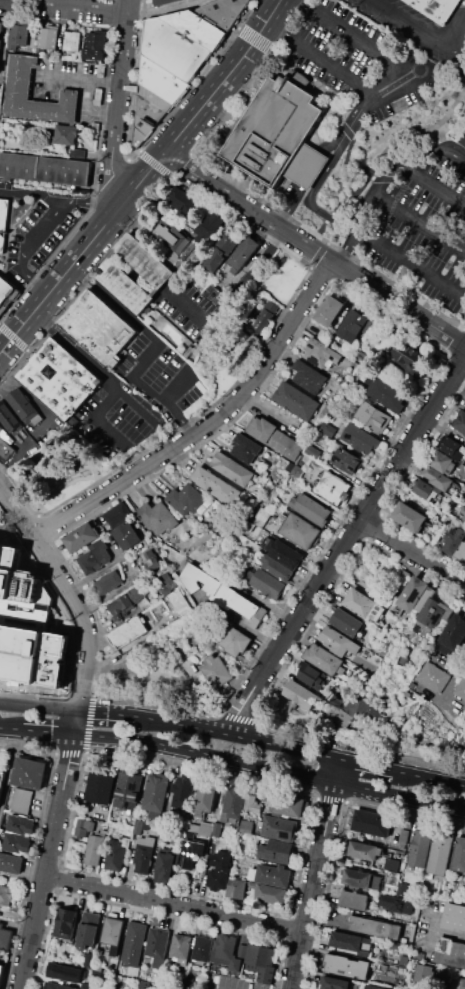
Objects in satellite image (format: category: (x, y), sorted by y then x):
road: (8, 1)
building: (162, 2)
road: (29, 3)
road: (129, 6)
road: (85, 8)
building: (439, 9)
building: (223, 11)
parking lot: (422, 21)
building: (199, 27)
building: (18, 35)
road: (426, 35)
building: (2, 36)
road: (355, 36)
building: (48, 37)
building: (32, 40)
building: (72, 41)
building: (95, 46)
building: (173, 48)
parking lot: (359, 59)
road: (320, 61)
building: (161, 79)
road: (85, 80)
road: (225, 80)
road: (400, 80)
building: (18, 89)
building: (151, 104)
road: (85, 111)
road: (117, 111)
road: (351, 127)
building: (141, 129)
building: (274, 131)
building: (66, 135)
building: (463, 140)
road: (435, 151)
road: (354, 163)
building: (306, 167)
building: (44, 169)
road: (312, 170)
road: (143, 181)
road: (434, 183)
road: (31, 192)
road: (309, 197)
building: (184, 201)
road: (92, 204)
road: (290, 207)
road: (407, 210)
road: (369, 214)
road: (139, 218)
building: (3, 220)
road: (322, 221)
building: (209, 227)
parking lot: (419, 227)
building: (171, 235)
road: (24, 248)
building: (222, 249)
road: (314, 250)
road: (349, 250)
road: (85, 251)
building: (243, 253)
road: (413, 268)
park: (269, 274)
building: (158, 275)
building: (6, 291)
building: (211, 293)
road: (227, 297)
parking lot: (187, 309)
building: (329, 310)
road: (41, 318)
building: (261, 320)
building: (353, 325)
road: (24, 326)
building: (99, 327)
road: (153, 347)
building: (317, 351)
road: (84, 354)
road: (0, 355)
building: (362, 356)
building: (408, 356)
parking lot: (158, 373)
building: (309, 376)
building: (59, 377)
road: (179, 387)
road: (125, 388)
building: (463, 392)
building: (388, 395)
building: (296, 399)
building: (22, 405)
parking lot: (118, 415)
building: (8, 416)
building: (373, 416)
road: (199, 417)
road: (206, 422)
building: (460, 422)
building: (263, 428)
building: (0, 429)
building: (326, 429)
road: (108, 431)
building: (38, 435)
building: (359, 439)
building: (286, 444)
building: (451, 446)
building: (246, 448)
building: (5, 449)
building: (313, 452)
building: (347, 461)
building: (442, 462)
park: (64, 466)
building: (233, 469)
building: (295, 469)
road: (62, 475)
road: (75, 478)
building: (436, 478)
road: (17, 484)
building: (214, 484)
building: (332, 487)
building: (426, 490)
road: (39, 498)
building: (186, 500)
building: (314, 509)
building: (463, 509)
road: (32, 511)
road: (18, 512)
building: (118, 515)
building: (157, 517)
building: (261, 517)
building: (410, 517)
building: (463, 518)
road: (4, 520)
road: (44, 526)
building: (271, 529)
building: (301, 530)
building: (128, 536)
building: (81, 537)
building: (454, 540)
road: (347, 547)
building: (461, 550)
building: (285, 553)
road: (414, 553)
building: (95, 559)
building: (150, 560)
building: (277, 568)
building: (109, 582)
building: (206, 582)
building: (267, 583)
building: (166, 584)
building: (143, 590)
building: (413, 593)
building: (180, 602)
building: (359, 602)
building: (120, 607)
building: (248, 609)
building: (432, 613)
building: (171, 618)
road: (70, 622)
building: (346, 622)
building: (28, 625)
building: (453, 632)
building: (127, 633)
building: (235, 638)
building: (338, 642)
building: (324, 659)
road: (110, 668)
building: (215, 670)
building: (311, 675)
building: (434, 677)
road: (453, 680)
building: (461, 688)
road: (78, 692)
building: (301, 695)
building: (338, 697)
road: (437, 697)
building: (354, 703)
road: (40, 705)
road: (110, 713)
building: (367, 713)
building: (343, 718)
road: (77, 725)
road: (10, 730)
road: (48, 733)
road: (241, 736)
road: (181, 750)
road: (370, 764)
road: (9, 773)
building: (29, 773)
road: (431, 776)
road: (311, 778)
building: (2, 780)
building: (101, 788)
building: (129, 790)
building: (156, 792)
building: (183, 792)
road: (400, 797)
building: (205, 799)
building: (21, 800)
building: (252, 803)
building: (232, 804)
building: (289, 806)
building: (372, 822)
building: (21, 824)
building: (247, 826)
building: (83, 827)
building: (193, 827)
building: (206, 828)
building: (279, 828)
building: (217, 829)
building: (404, 836)
building: (17, 843)
building: (94, 849)
building: (365, 849)
building: (419, 849)
building: (276, 850)
building: (191, 852)
building: (117, 853)
building: (144, 854)
building: (440, 854)
building: (459, 856)
building: (223, 857)
building: (11, 862)
building: (392, 864)
building: (166, 865)
road: (316, 873)
building: (271, 875)
building: (218, 877)
building: (393, 877)
building: (361, 878)
building: (237, 887)
building: (402, 889)
building: (271, 894)
building: (6, 895)
building: (354, 899)
road: (175, 904)
building: (396, 904)
road: (326, 916)
building: (453, 916)
building: (66, 923)
building: (374, 927)
road: (433, 928)
building: (89, 930)
building: (113, 930)
road: (449, 932)
building: (5, 936)
building: (345, 941)
building: (158, 942)
building: (134, 945)
building: (181, 946)
building: (203, 948)
building: (242, 949)
building: (223, 952)
building: (449, 952)
building: (89, 960)
building: (404, 960)
building: (261, 961)
building: (346, 965)
building: (236, 966)
building: (1, 971)
building: (65, 972)
building: (425, 973)
building: (188, 982)
parking lot: (232, 983)
building: (334, 983)
building: (458, 984)
building: (56, 986)
building: (164, 986)
building: (375, 986)

